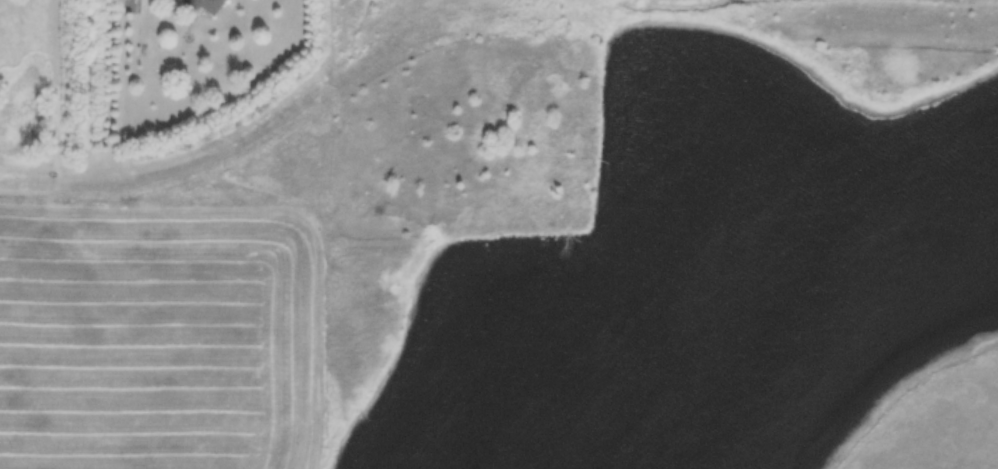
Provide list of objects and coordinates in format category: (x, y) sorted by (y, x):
building: (210, 5)
road: (160, 160)

